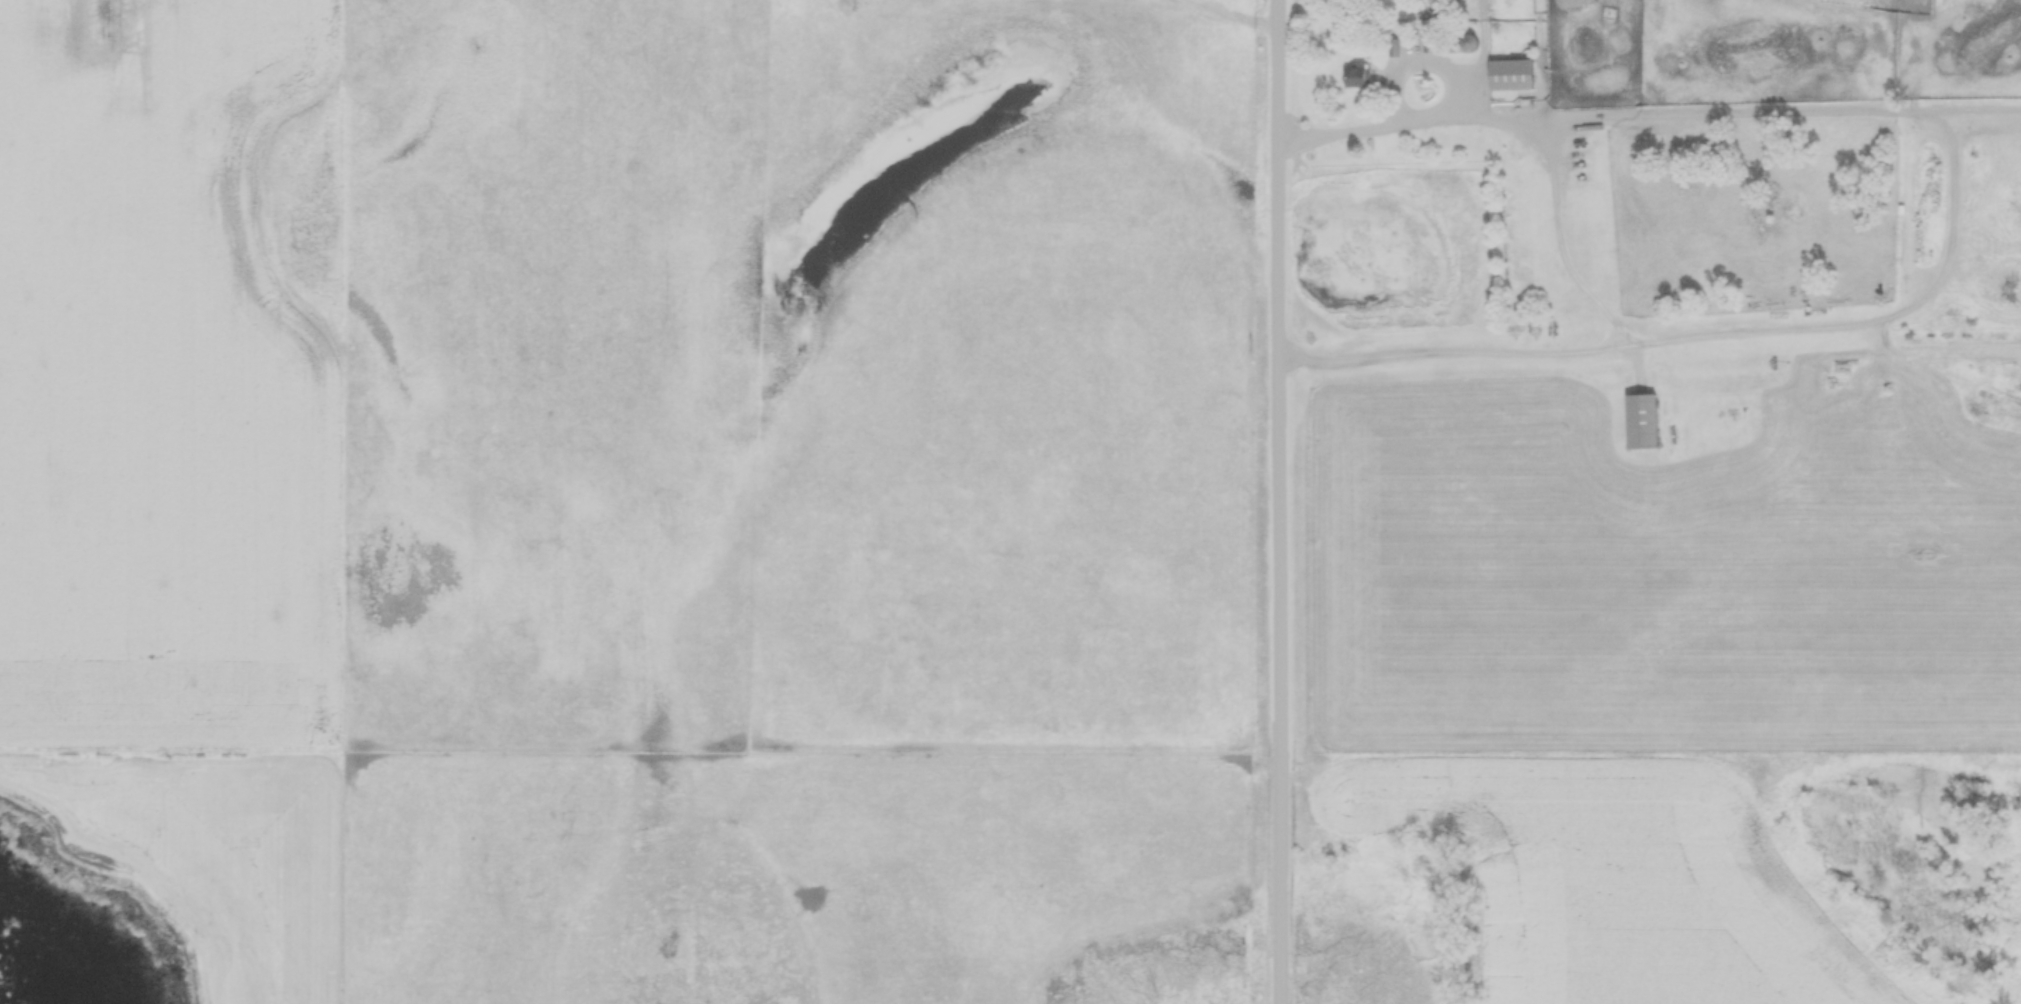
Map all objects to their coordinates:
building: (1469, 43)
building: (1358, 74)
building: (1512, 75)
road: (1954, 161)
road: (1577, 276)
crop: (170, 375)
building: (1643, 422)
road: (1281, 502)

